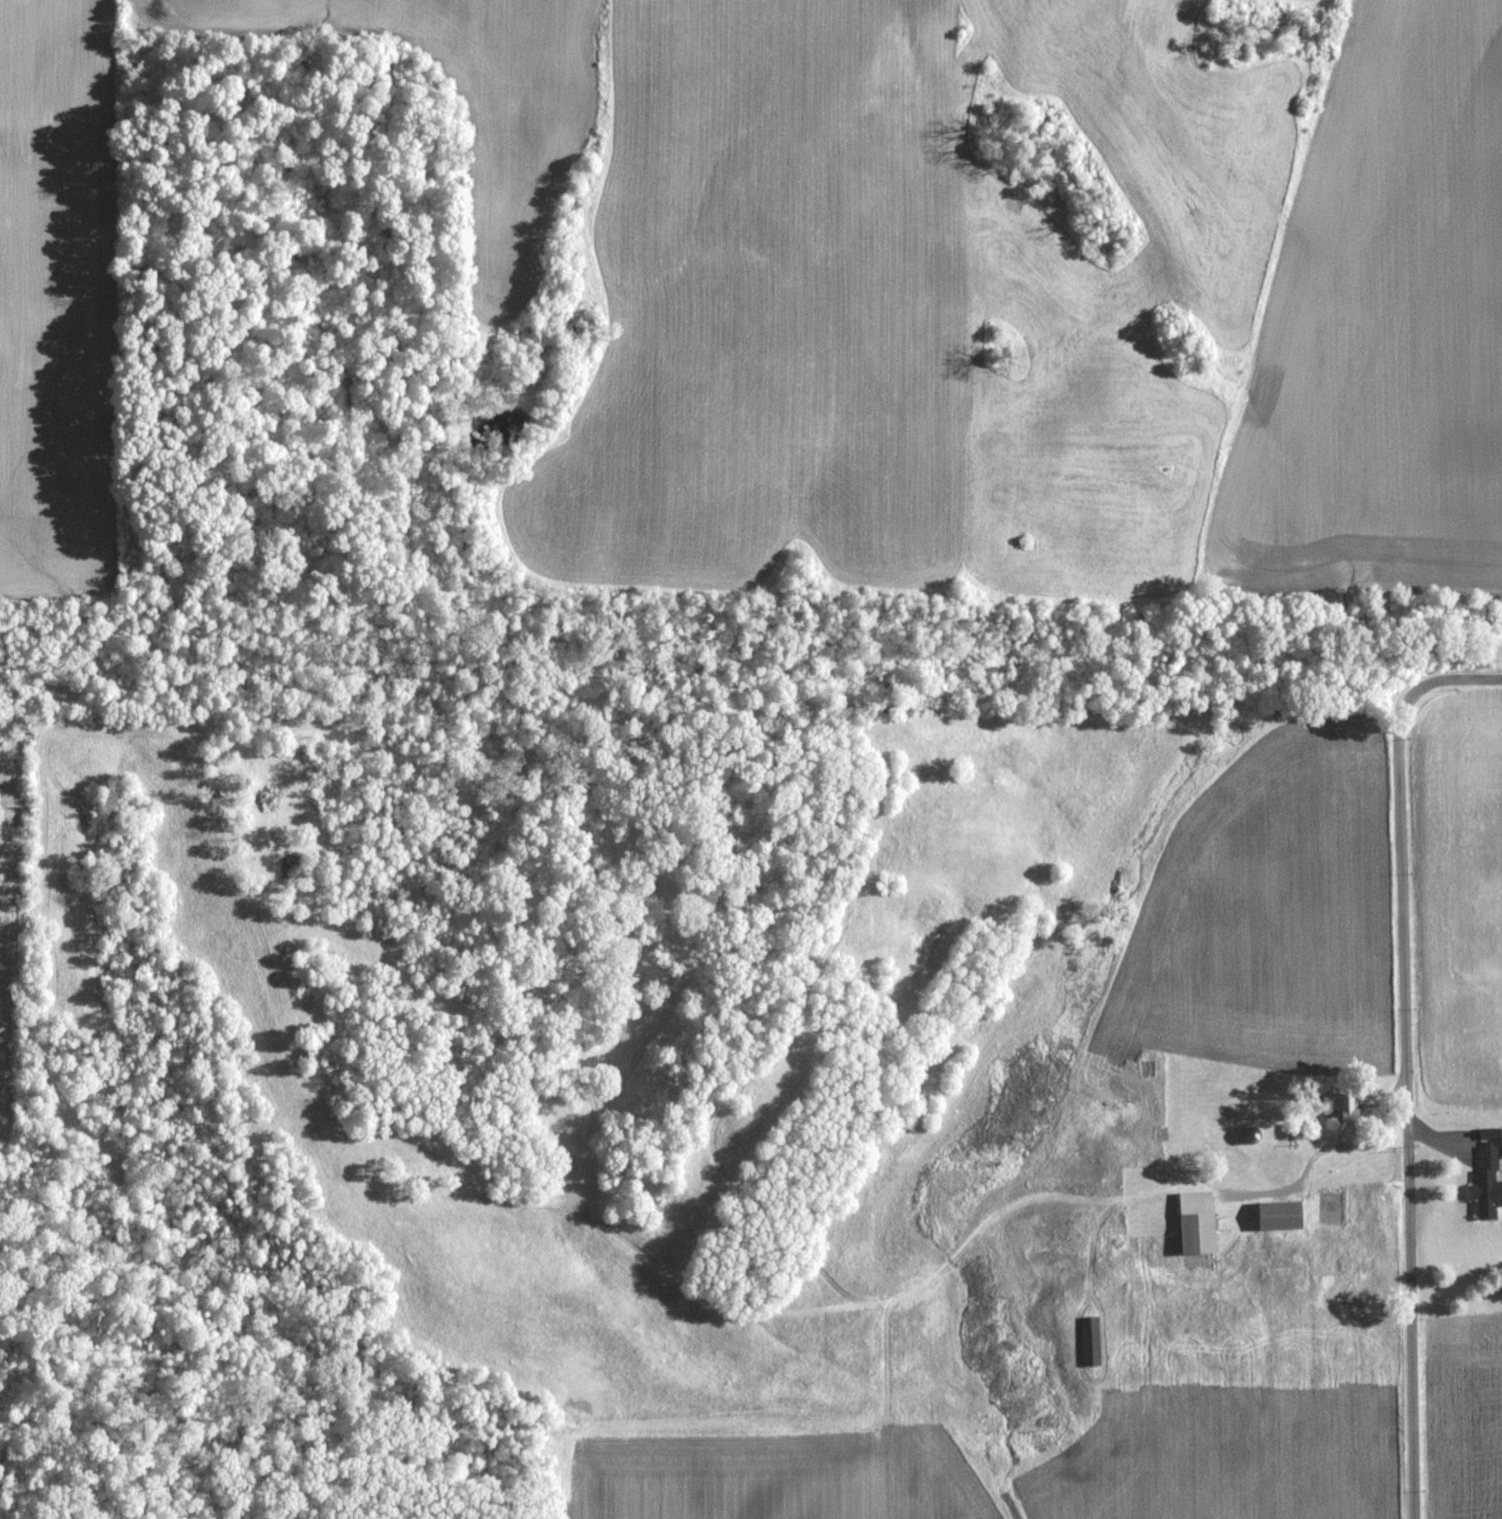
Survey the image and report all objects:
road: (1456, 679)
road: (1404, 1103)
building: (1345, 1106)
road: (1328, 1148)
building: (1285, 1215)
building: (1203, 1223)

